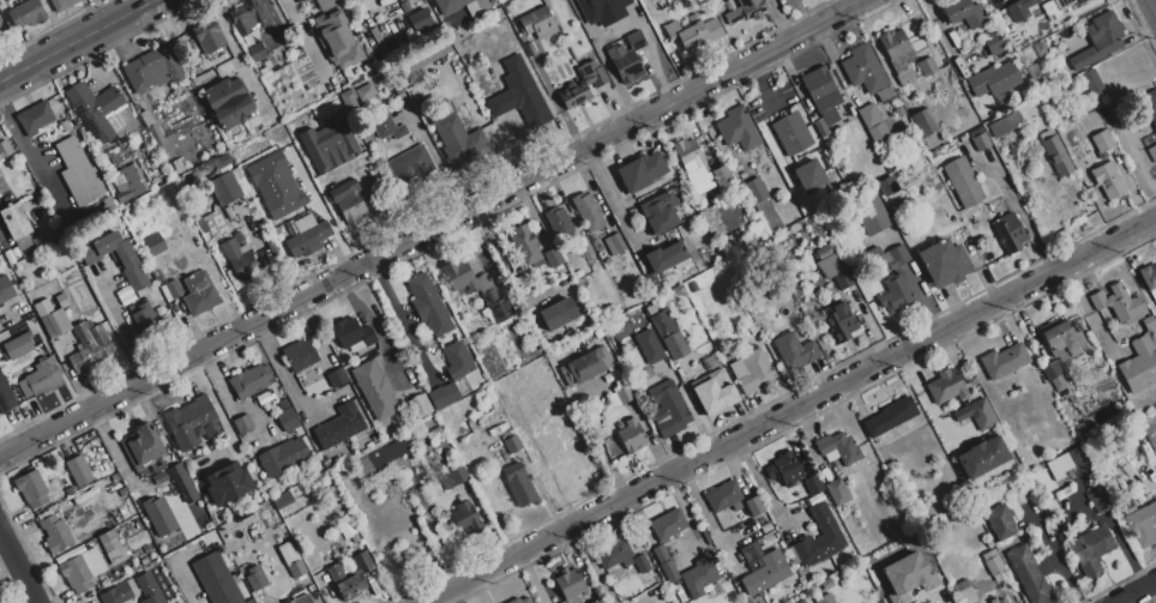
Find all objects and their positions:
building: (300, 1)
building: (1079, 1)
building: (62, 4)
building: (1056, 5)
building: (751, 7)
building: (602, 10)
building: (1020, 10)
building: (475, 12)
building: (26, 13)
building: (964, 13)
building: (246, 16)
building: (734, 16)
building: (419, 19)
building: (536, 23)
building: (962, 30)
building: (2, 32)
building: (692, 34)
building: (209, 37)
building: (952, 37)
building: (337, 38)
road: (77, 40)
building: (636, 40)
building: (1100, 40)
road: (305, 41)
building: (997, 42)
building: (1040, 49)
building: (255, 52)
road: (236, 53)
building: (898, 55)
building: (425, 58)
building: (979, 58)
building: (624, 62)
building: (928, 67)
building: (152, 68)
building: (866, 73)
building: (1034, 73)
building: (994, 80)
building: (1092, 82)
road: (765, 83)
building: (582, 84)
building: (366, 92)
building: (823, 94)
building: (519, 95)
building: (229, 101)
building: (350, 101)
building: (1150, 104)
building: (100, 111)
building: (1071, 116)
building: (1106, 116)
building: (35, 117)
building: (903, 117)
building: (925, 122)
building: (1006, 123)
building: (874, 125)
building: (65, 126)
building: (821, 127)
building: (1139, 127)
building: (151, 128)
building: (389, 128)
building: (737, 129)
building: (791, 133)
building: (975, 133)
building: (1115, 135)
building: (457, 137)
building: (962, 139)
building: (980, 141)
building: (1102, 141)
building: (329, 144)
building: (5, 150)
road: (31, 153)
building: (1055, 153)
building: (1152, 153)
building: (222, 162)
building: (348, 162)
building: (733, 162)
building: (830, 162)
building: (177, 167)
building: (737, 167)
building: (413, 168)
building: (246, 169)
building: (702, 169)
building: (642, 171)
building: (78, 173)
building: (742, 175)
building: (809, 175)
building: (239, 181)
building: (1108, 181)
building: (963, 182)
building: (127, 183)
building: (2, 185)
building: (275, 185)
building: (887, 186)
building: (224, 188)
building: (755, 191)
building: (353, 206)
building: (868, 210)
building: (588, 211)
road: (1020, 211)
building: (660, 212)
building: (16, 222)
building: (558, 222)
building: (711, 222)
building: (64, 223)
road: (433, 227)
building: (749, 228)
building: (1009, 231)
building: (307, 236)
building: (24, 242)
building: (153, 243)
building: (614, 243)
building: (272, 245)
building: (525, 246)
building: (826, 251)
building: (602, 254)
building: (874, 254)
building: (553, 257)
building: (664, 257)
building: (892, 258)
building: (239, 260)
building: (128, 263)
building: (944, 263)
building: (830, 266)
building: (458, 276)
building: (843, 279)
building: (1149, 279)
building: (167, 285)
building: (5, 289)
building: (656, 290)
building: (673, 293)
building: (199, 294)
building: (895, 295)
building: (62, 300)
building: (494, 300)
building: (1118, 302)
building: (429, 304)
building: (43, 308)
building: (651, 309)
building: (558, 313)
building: (598, 313)
building: (142, 318)
road: (402, 320)
building: (1148, 322)
building: (55, 324)
building: (838, 325)
road: (124, 327)
building: (37, 334)
building: (351, 334)
building: (668, 336)
building: (1061, 336)
building: (73, 340)
building: (11, 343)
building: (579, 343)
building: (465, 344)
building: (649, 345)
building: (90, 346)
building: (794, 351)
building: (300, 356)
building: (457, 360)
building: (711, 362)
building: (1004, 362)
building: (1139, 366)
building: (585, 367)
building: (1052, 370)
building: (754, 372)
building: (43, 378)
building: (337, 378)
building: (249, 380)
building: (1058, 384)
building: (634, 385)
building: (945, 387)
building: (375, 390)
building: (714, 392)
building: (625, 394)
building: (7, 396)
building: (442, 396)
building: (484, 398)
building: (615, 403)
building: (283, 404)
building: (419, 405)
building: (668, 409)
road: (789, 410)
building: (979, 415)
building: (890, 417)
building: (288, 420)
building: (192, 423)
building: (242, 423)
building: (339, 426)
building: (434, 433)
building: (632, 435)
building: (374, 438)
road: (600, 444)
building: (512, 445)
building: (142, 447)
building: (838, 447)
building: (1077, 456)
building: (283, 457)
building: (982, 457)
building: (381, 458)
building: (1064, 462)
building: (325, 463)
building: (893, 465)
building: (784, 469)
building: (854, 469)
building: (1054, 469)
building: (78, 471)
building: (458, 475)
building: (222, 476)
building: (158, 477)
building: (445, 481)
building: (182, 483)
building: (519, 484)
building: (812, 484)
building: (31, 489)
building: (330, 492)
building: (838, 492)
building: (723, 496)
building: (1139, 500)
building: (282, 501)
building: (1098, 501)
building: (60, 506)
building: (753, 506)
building: (1052, 508)
building: (1127, 508)
road: (1076, 511)
building: (44, 514)
building: (464, 514)
building: (158, 515)
building: (1001, 521)
building: (668, 524)
building: (1143, 524)
building: (765, 527)
building: (55, 533)
road: (1040, 533)
building: (355, 538)
building: (818, 538)
building: (108, 542)
building: (1091, 549)
building: (614, 554)
building: (661, 555)
building: (116, 556)
building: (291, 560)
building: (143, 561)
building: (362, 562)
building: (992, 562)
building: (642, 563)
road: (18, 567)
building: (979, 567)
building: (761, 568)
building: (82, 569)
building: (669, 572)
building: (904, 573)
building: (1029, 574)
building: (699, 577)
building: (255, 578)
building: (957, 578)
building: (216, 579)
building: (829, 581)
building: (347, 583)
building: (570, 584)
road: (1155, 586)
building: (965, 587)
building: (147, 589)
road: (1136, 592)
building: (115, 593)
road: (192, 597)
building: (299, 598)
building: (824, 598)
building: (522, 599)
building: (598, 601)
building: (997, 601)

